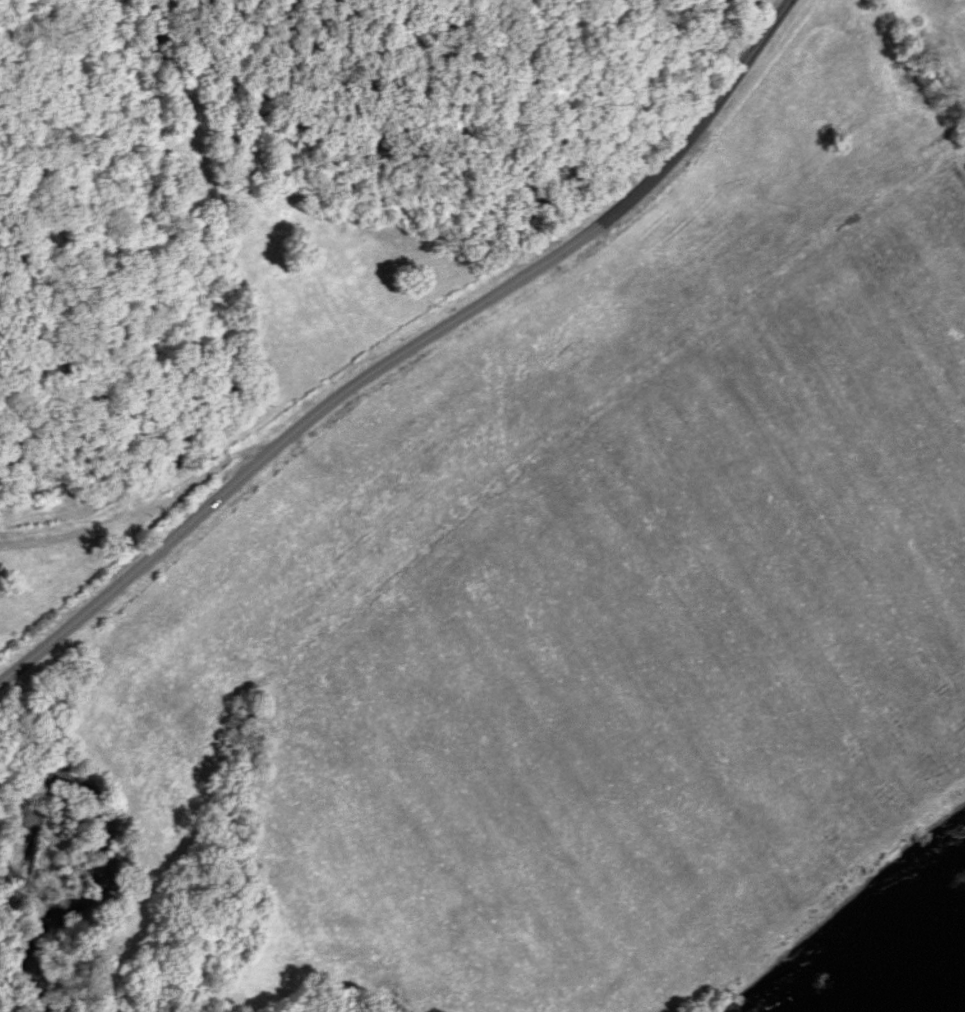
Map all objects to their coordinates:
road: (405, 345)
river: (949, 995)

